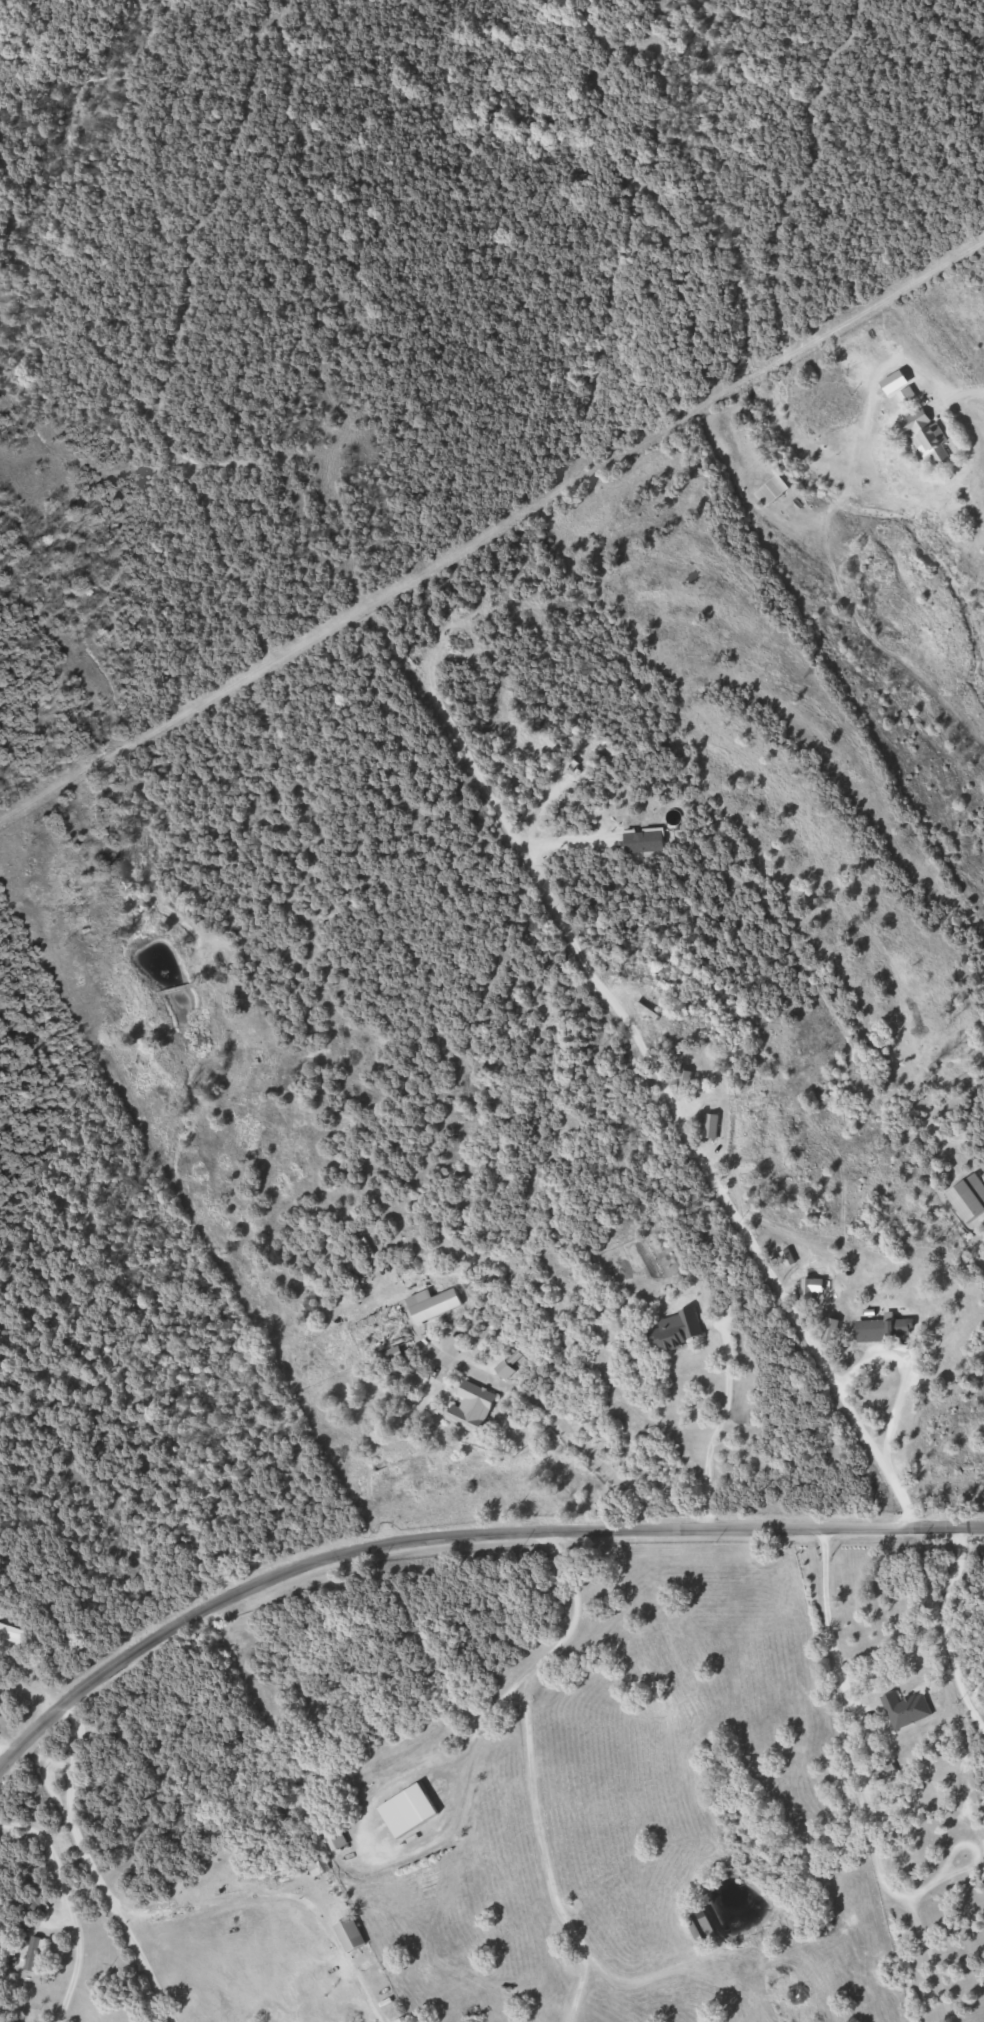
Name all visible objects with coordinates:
road: (960, 390)
building: (921, 436)
building: (768, 490)
road: (491, 533)
road: (565, 925)
building: (704, 1106)
building: (966, 1198)
building: (429, 1305)
road: (800, 1329)
building: (671, 1330)
building: (871, 1331)
building: (450, 1346)
building: (465, 1410)
road: (557, 1417)
road: (716, 1428)
road: (456, 1538)
road: (827, 1622)
building: (7, 1633)
road: (30, 1691)
building: (903, 1708)
road: (3, 1756)
road: (529, 1770)
road: (67, 1800)
building: (404, 1810)
building: (331, 1835)
building: (312, 1861)
road: (270, 1892)
road: (70, 1906)
building: (696, 1926)
building: (346, 1933)
building: (28, 1953)
road: (135, 1957)

